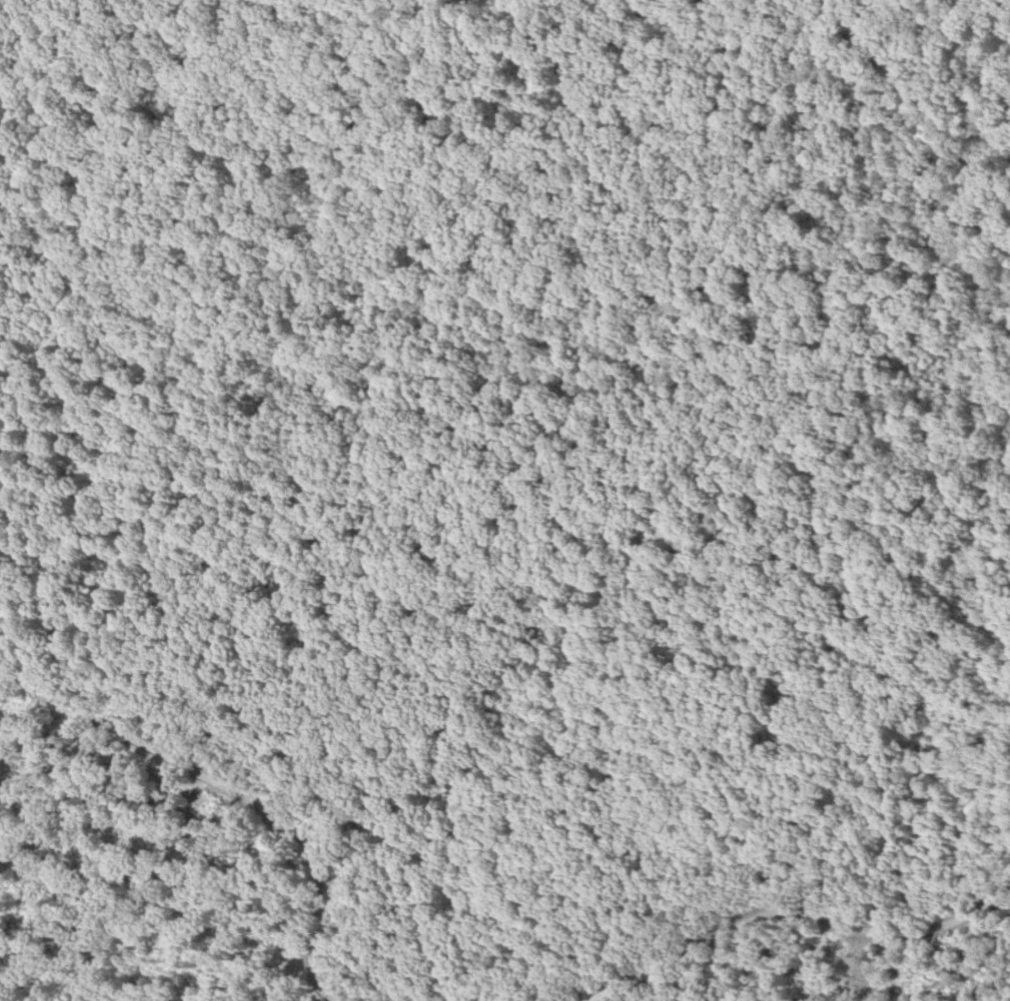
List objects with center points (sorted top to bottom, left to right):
road: (225, 793)
road: (801, 918)

